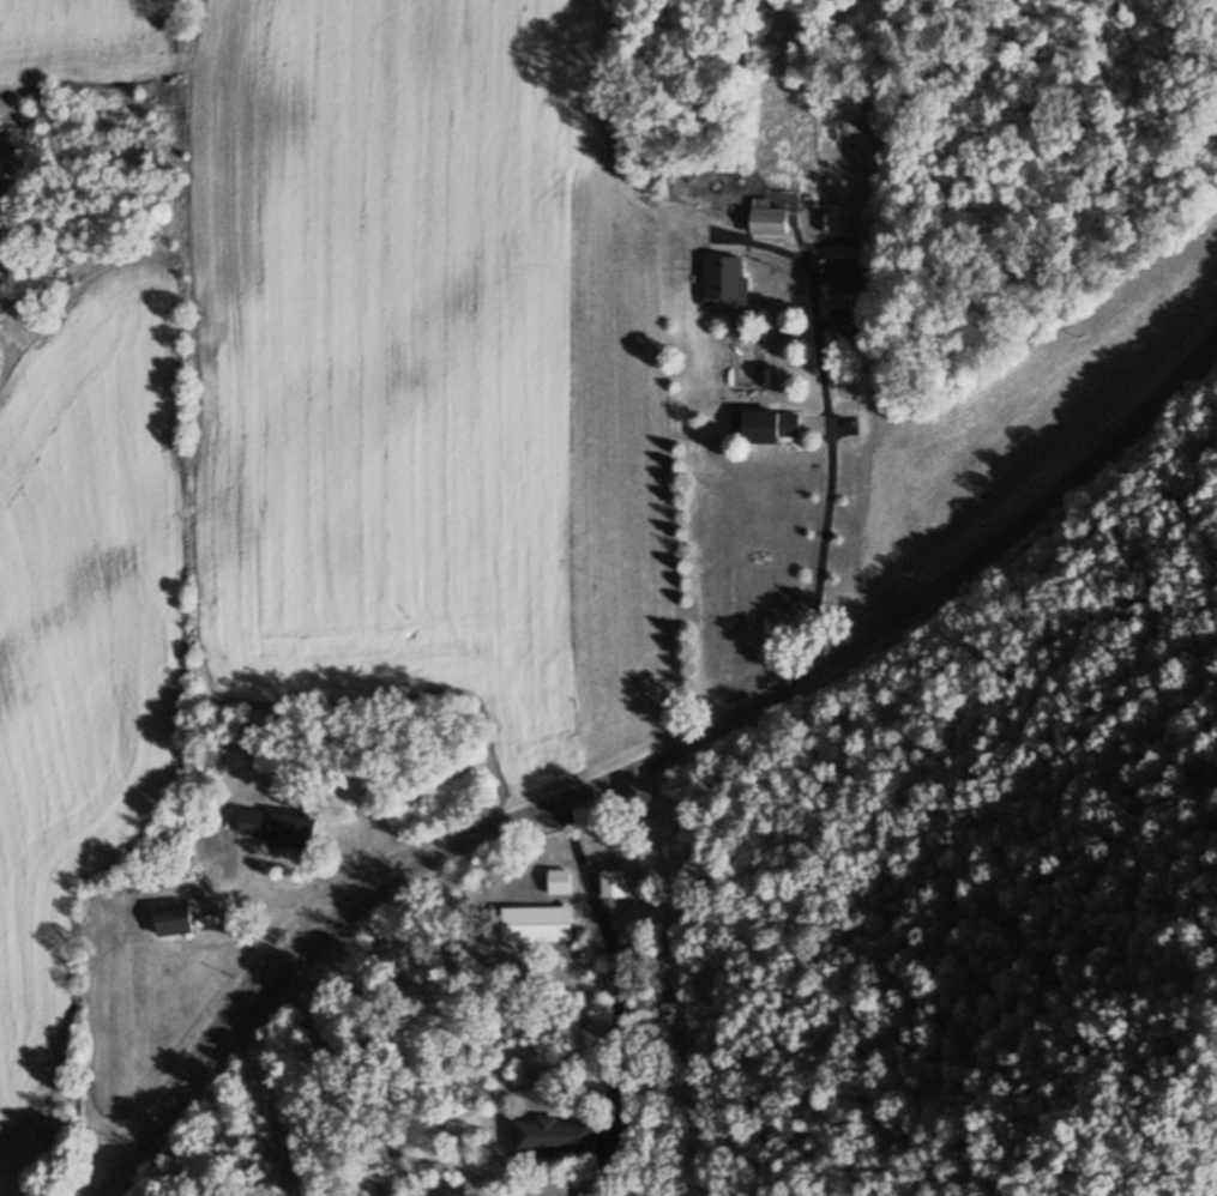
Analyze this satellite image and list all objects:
building: (769, 219)
road: (764, 249)
building: (854, 274)
building: (725, 282)
building: (849, 324)
building: (766, 428)
road: (835, 446)
road: (652, 755)
building: (281, 828)
building: (561, 883)
building: (615, 884)
building: (174, 920)
building: (537, 924)
building: (586, 1194)

